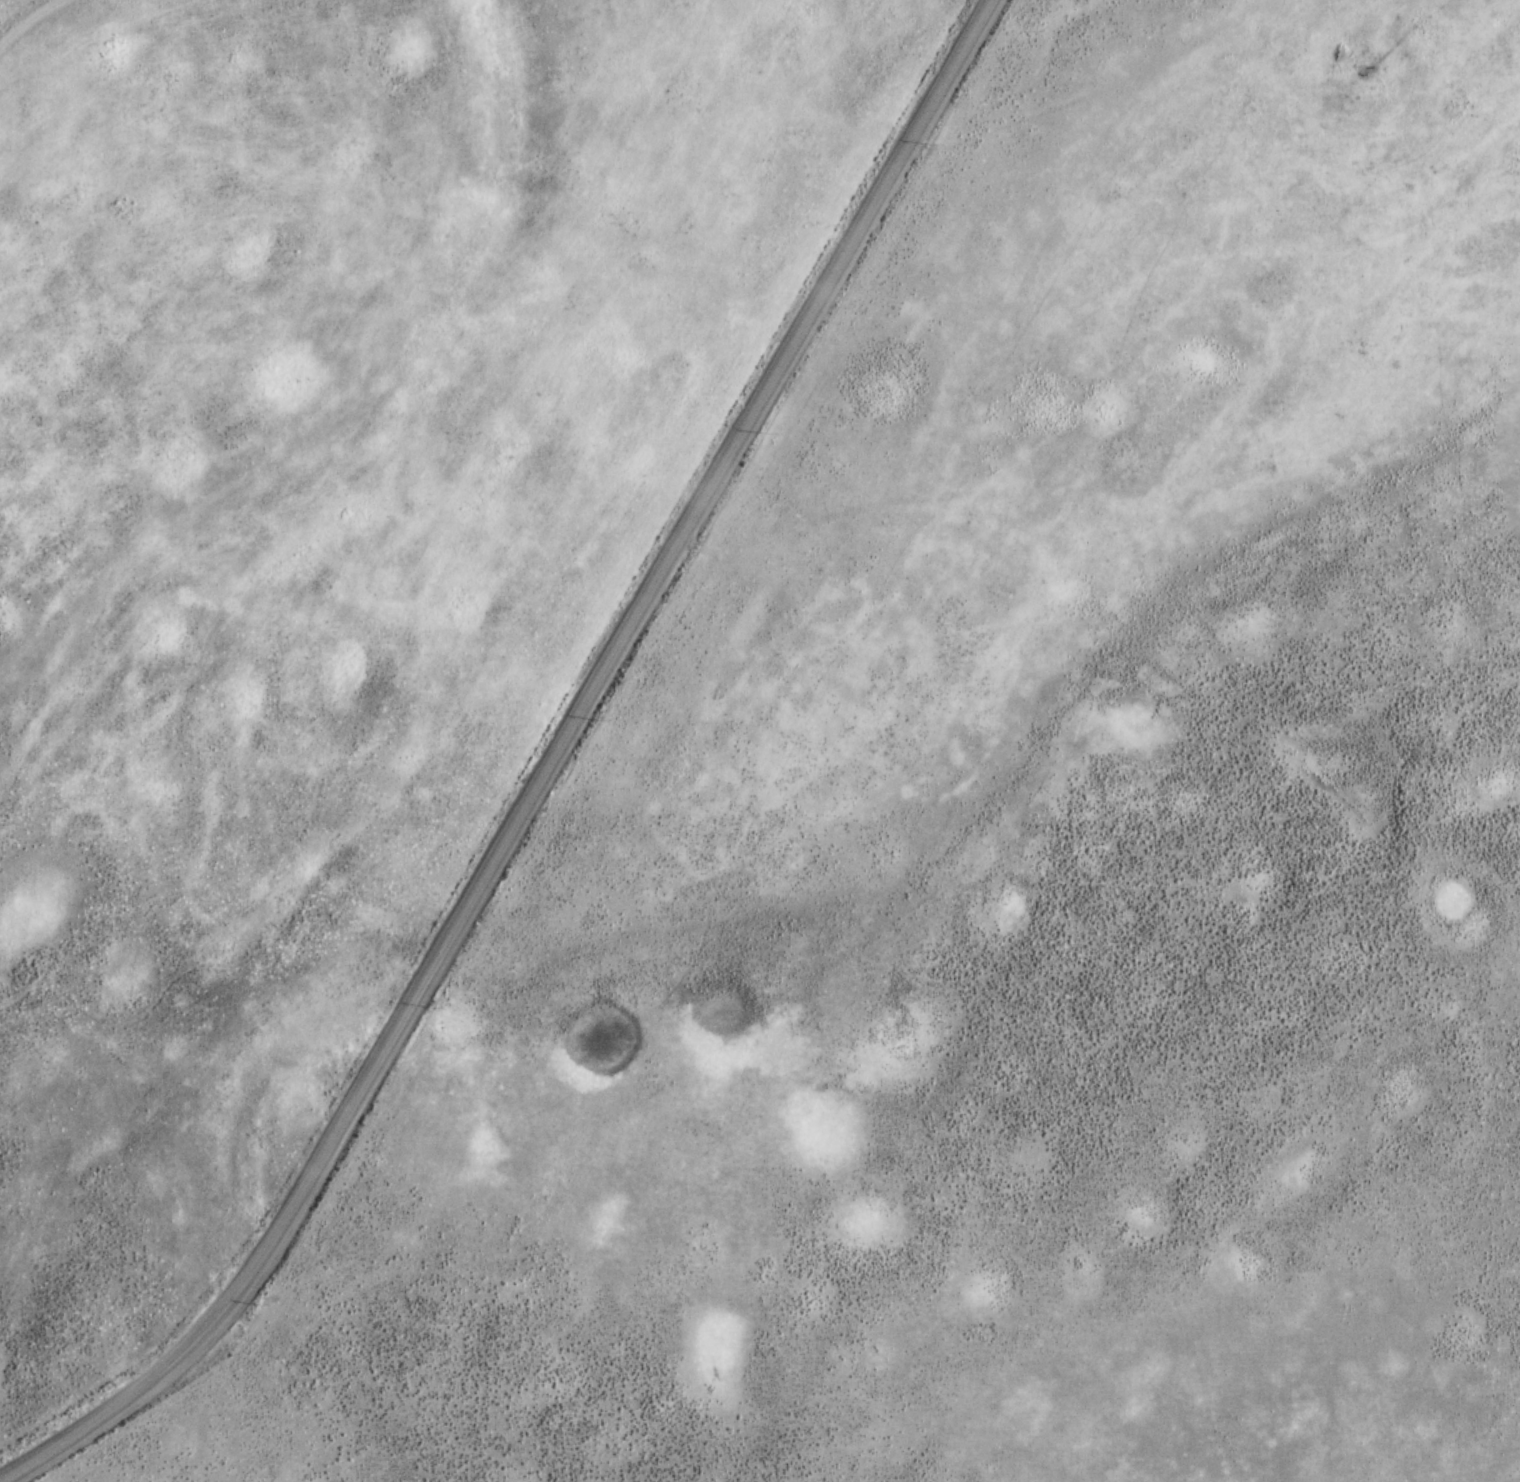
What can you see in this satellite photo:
road: (540, 765)

